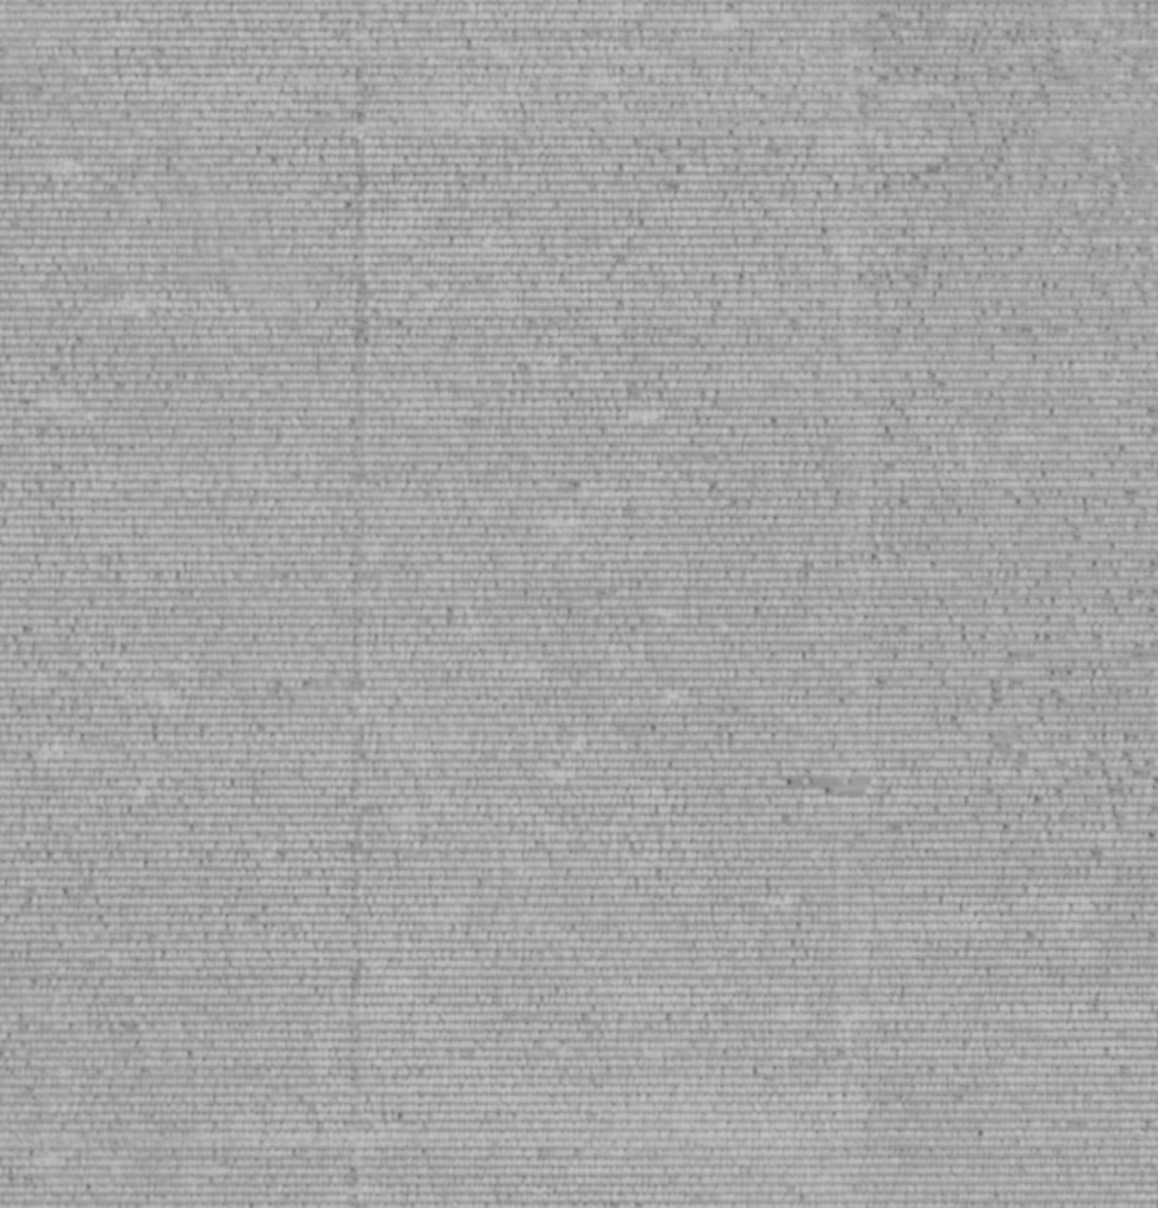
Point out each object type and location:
crop: (579, 604)

